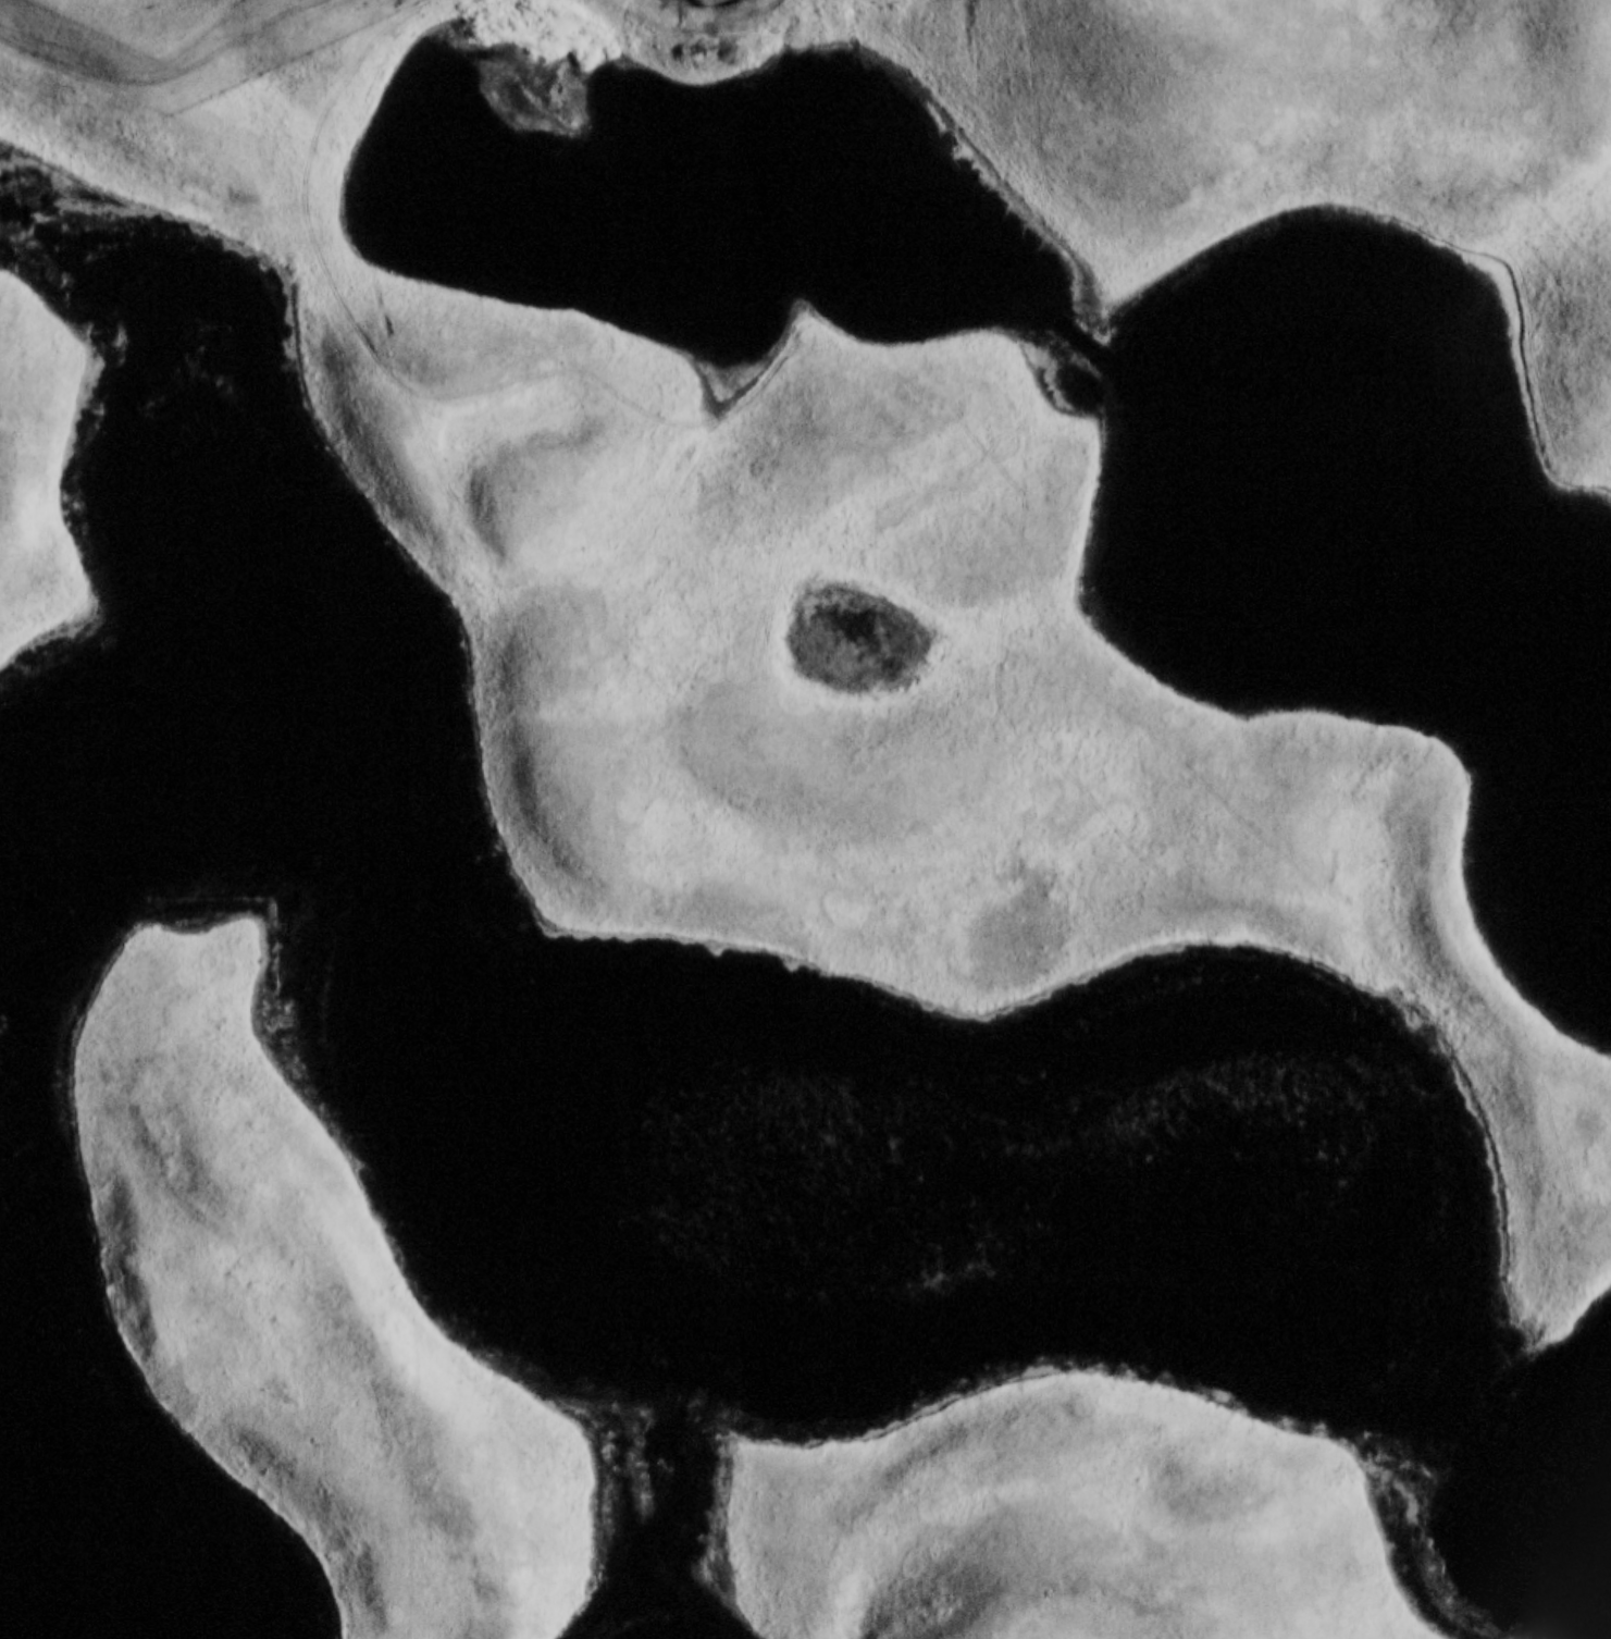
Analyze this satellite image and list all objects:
road: (160, 82)

